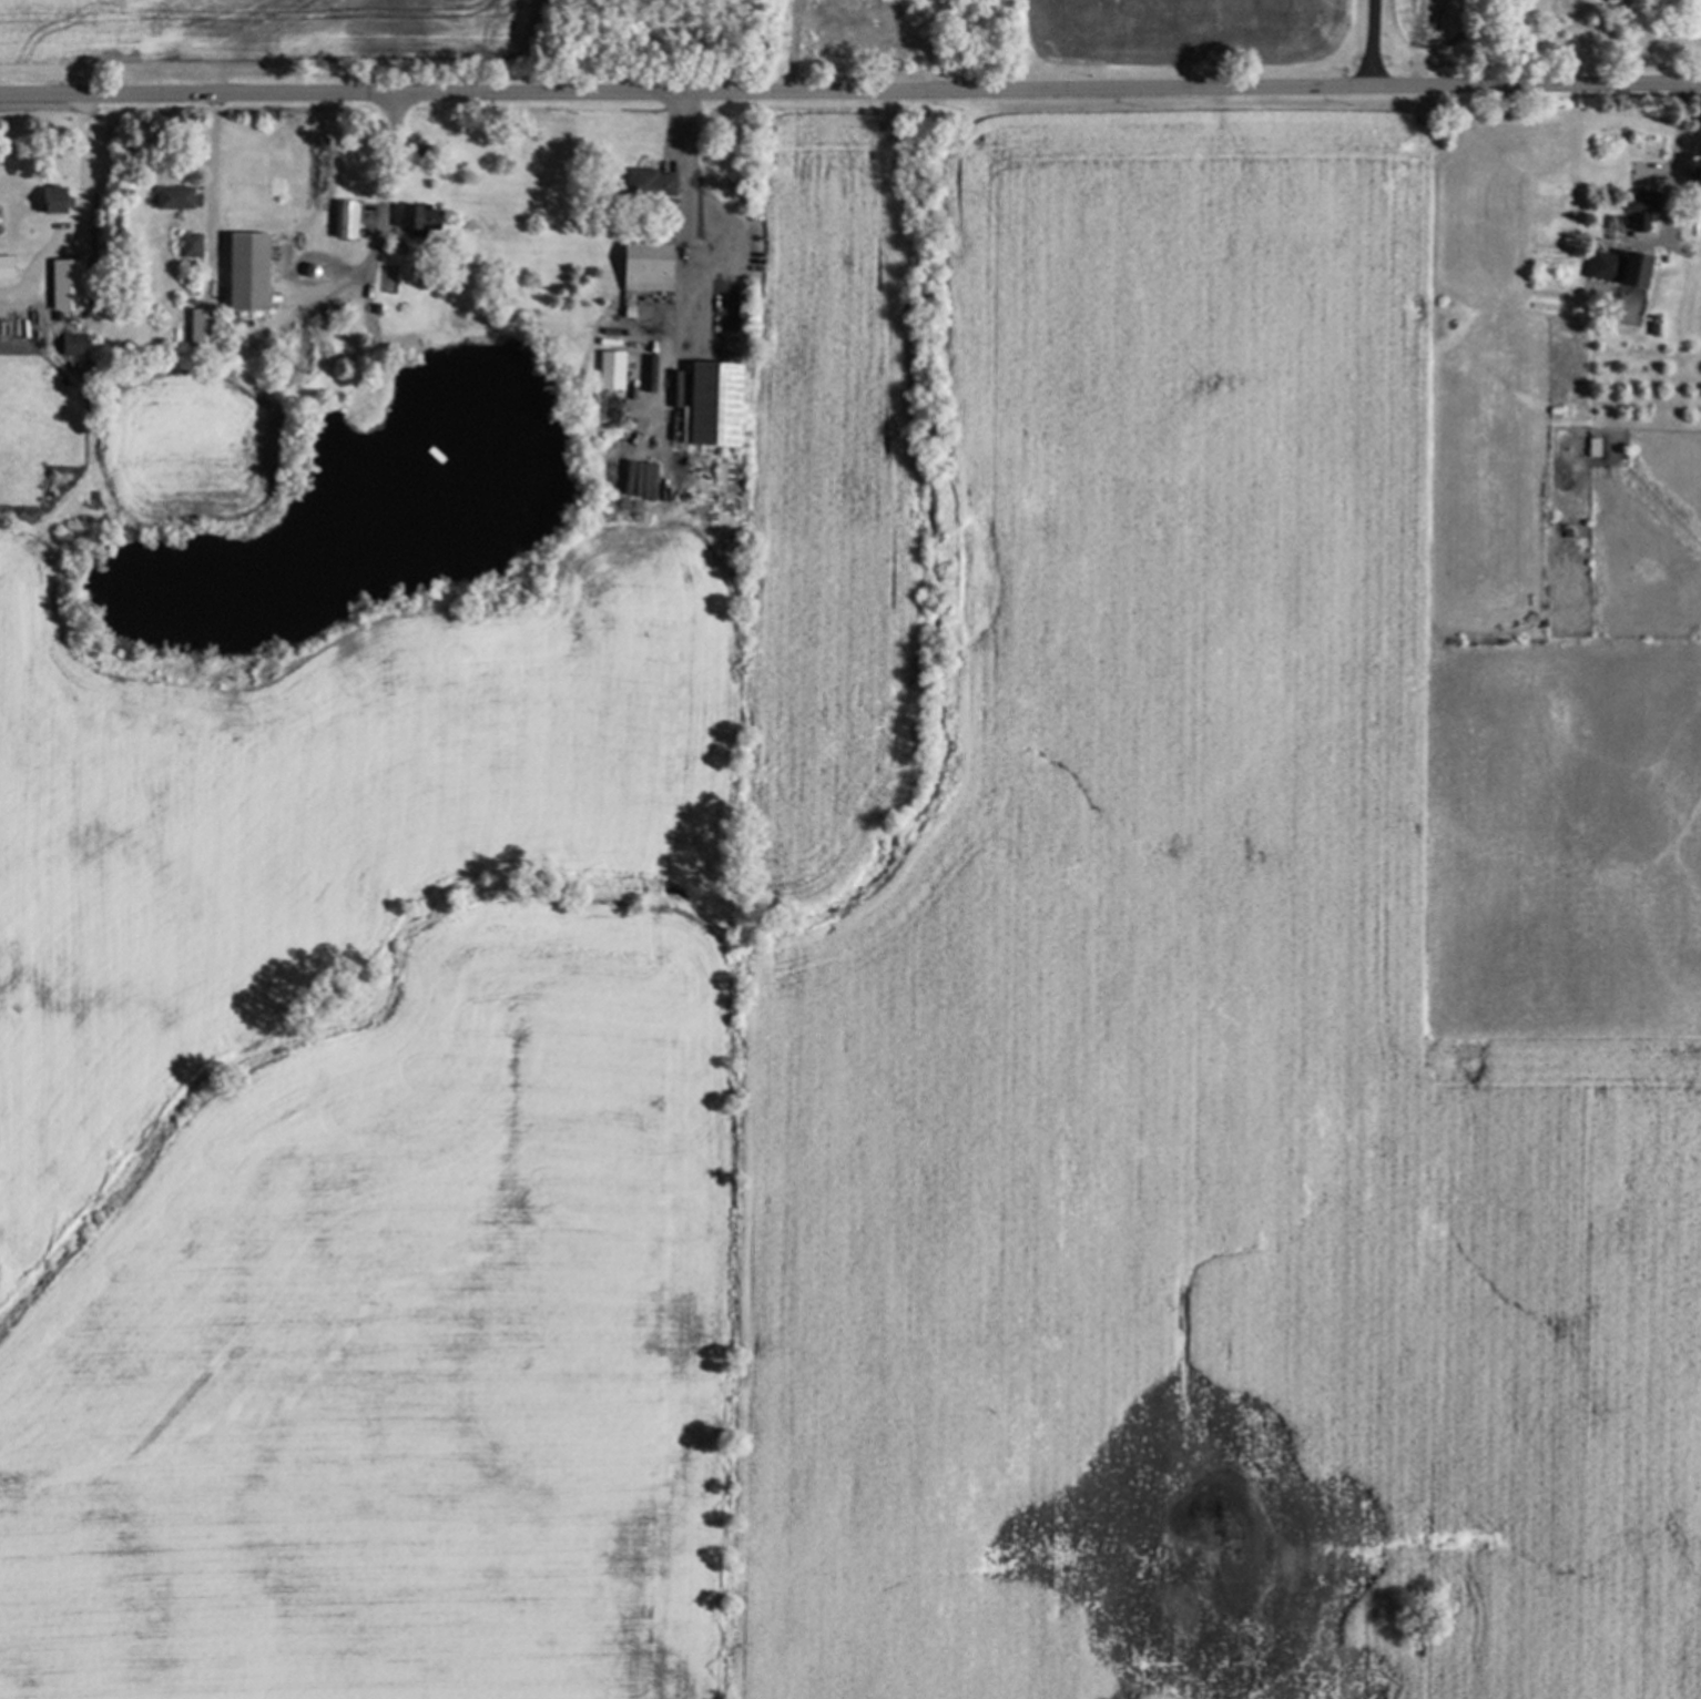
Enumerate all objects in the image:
building: (835, 10)
landfill: (1554, 38)
landfill: (476, 43)
road: (1369, 43)
road: (850, 90)
road: (1673, 146)
road: (393, 155)
road: (213, 166)
building: (644, 181)
building: (170, 197)
building: (49, 199)
building: (412, 217)
building: (342, 218)
road: (85, 221)
building: (1637, 223)
building: (186, 244)
building: (3, 266)
building: (641, 266)
building: (1617, 268)
road: (354, 269)
building: (244, 272)
building: (60, 284)
building: (195, 325)
building: (69, 343)
building: (608, 369)
building: (707, 404)
building: (638, 479)
crop: (853, 1042)

